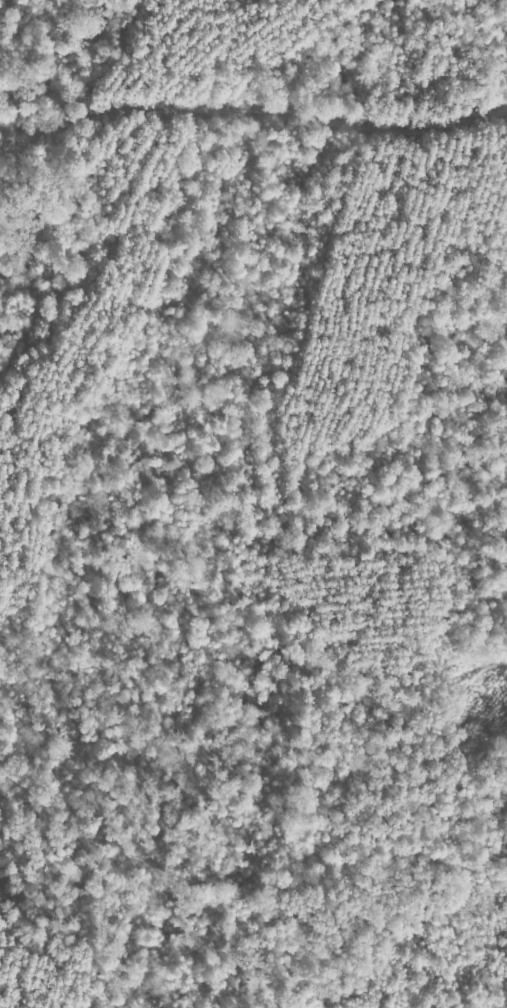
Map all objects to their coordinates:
road: (249, 99)

